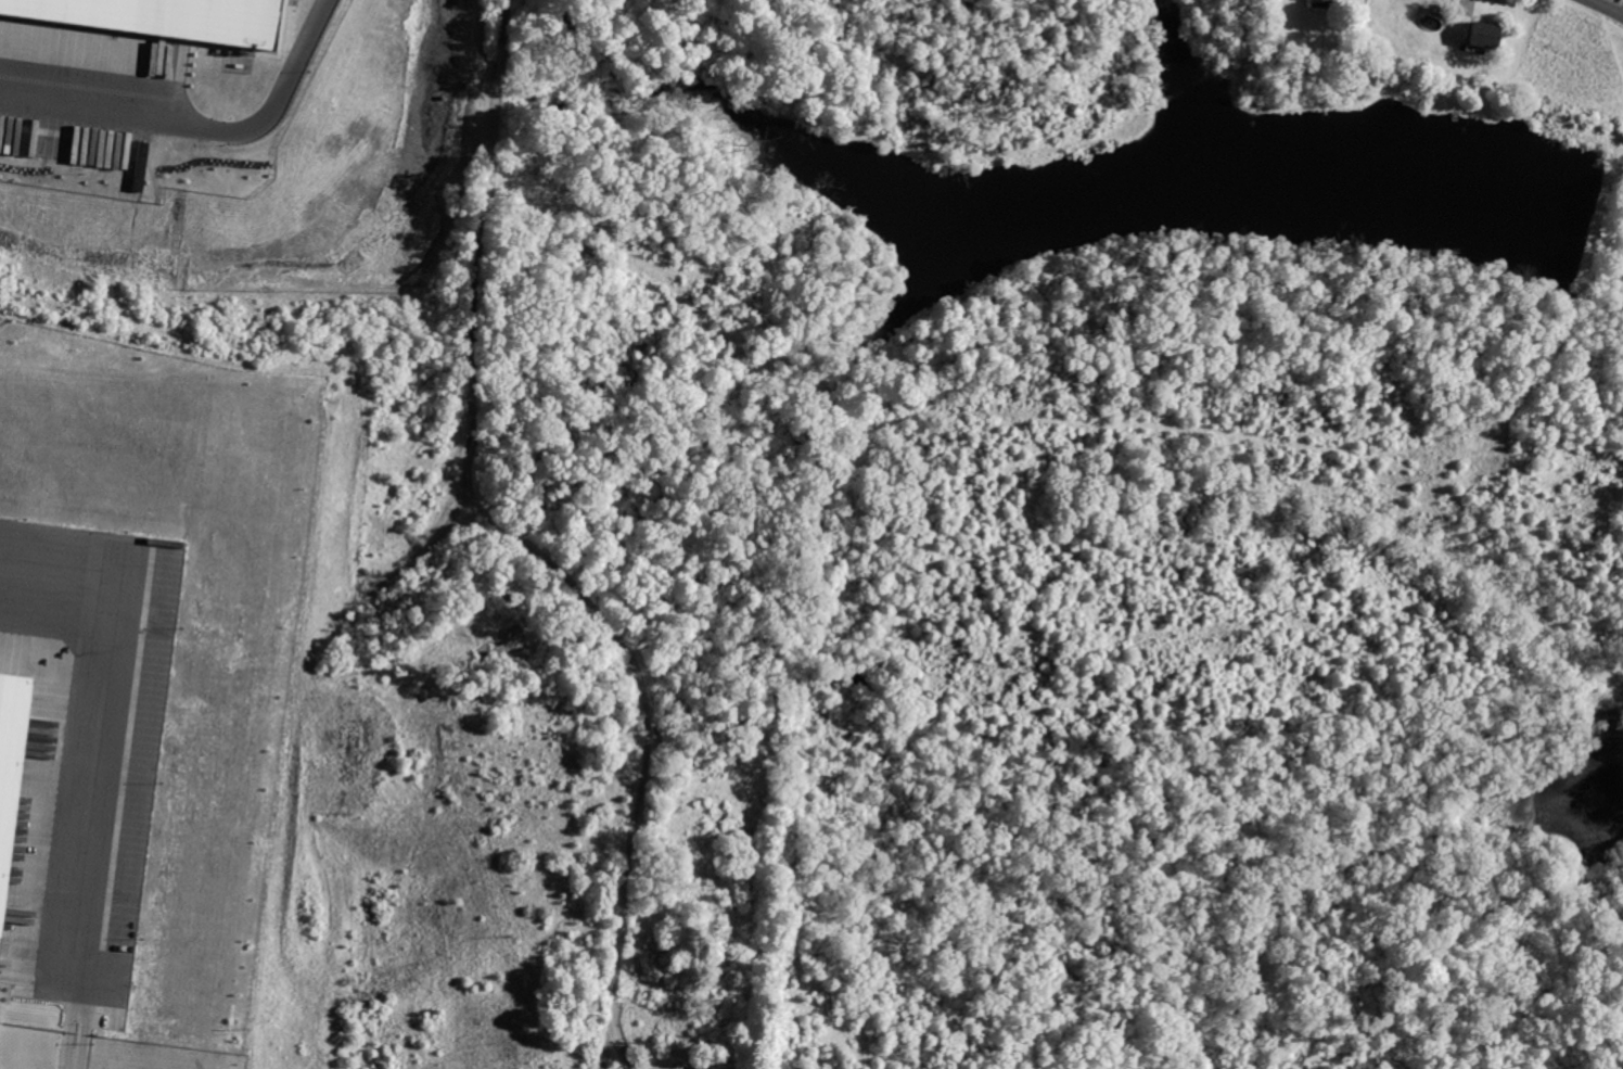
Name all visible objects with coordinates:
building: (1318, 2)
road: (1605, 8)
building: (166, 21)
building: (1483, 34)
road: (199, 127)
road: (489, 217)
building: (10, 760)
road: (91, 761)
road: (74, 1052)

